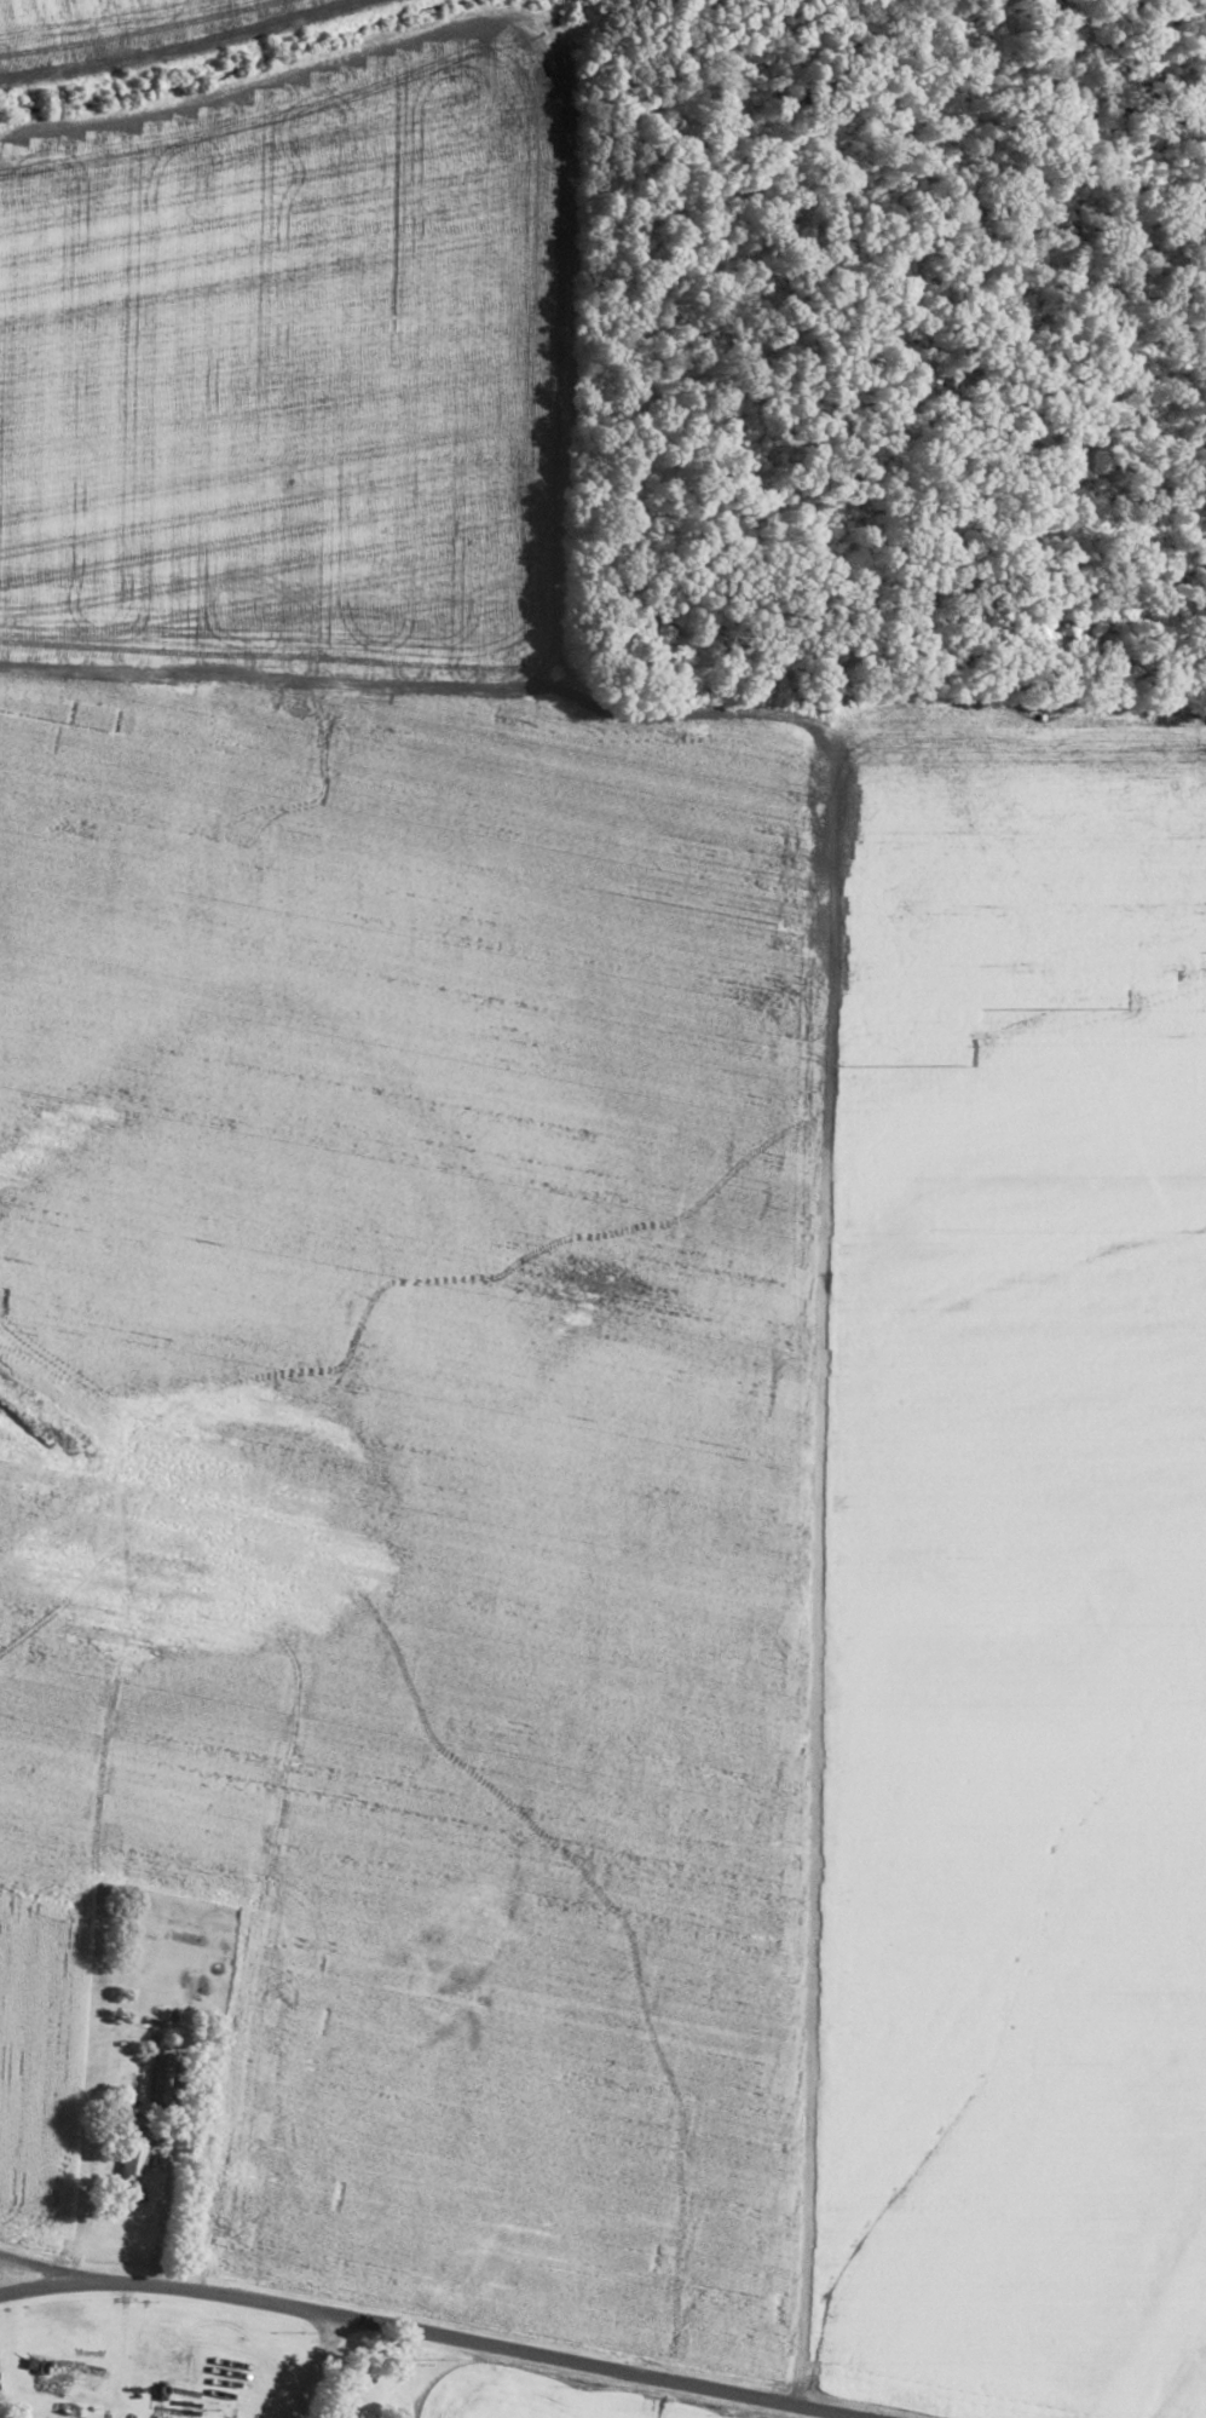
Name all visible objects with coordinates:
building: (167, 2077)
building: (139, 2151)
road: (179, 2164)
road: (60, 2269)
road: (432, 2334)
road: (318, 2367)
road: (123, 2382)

